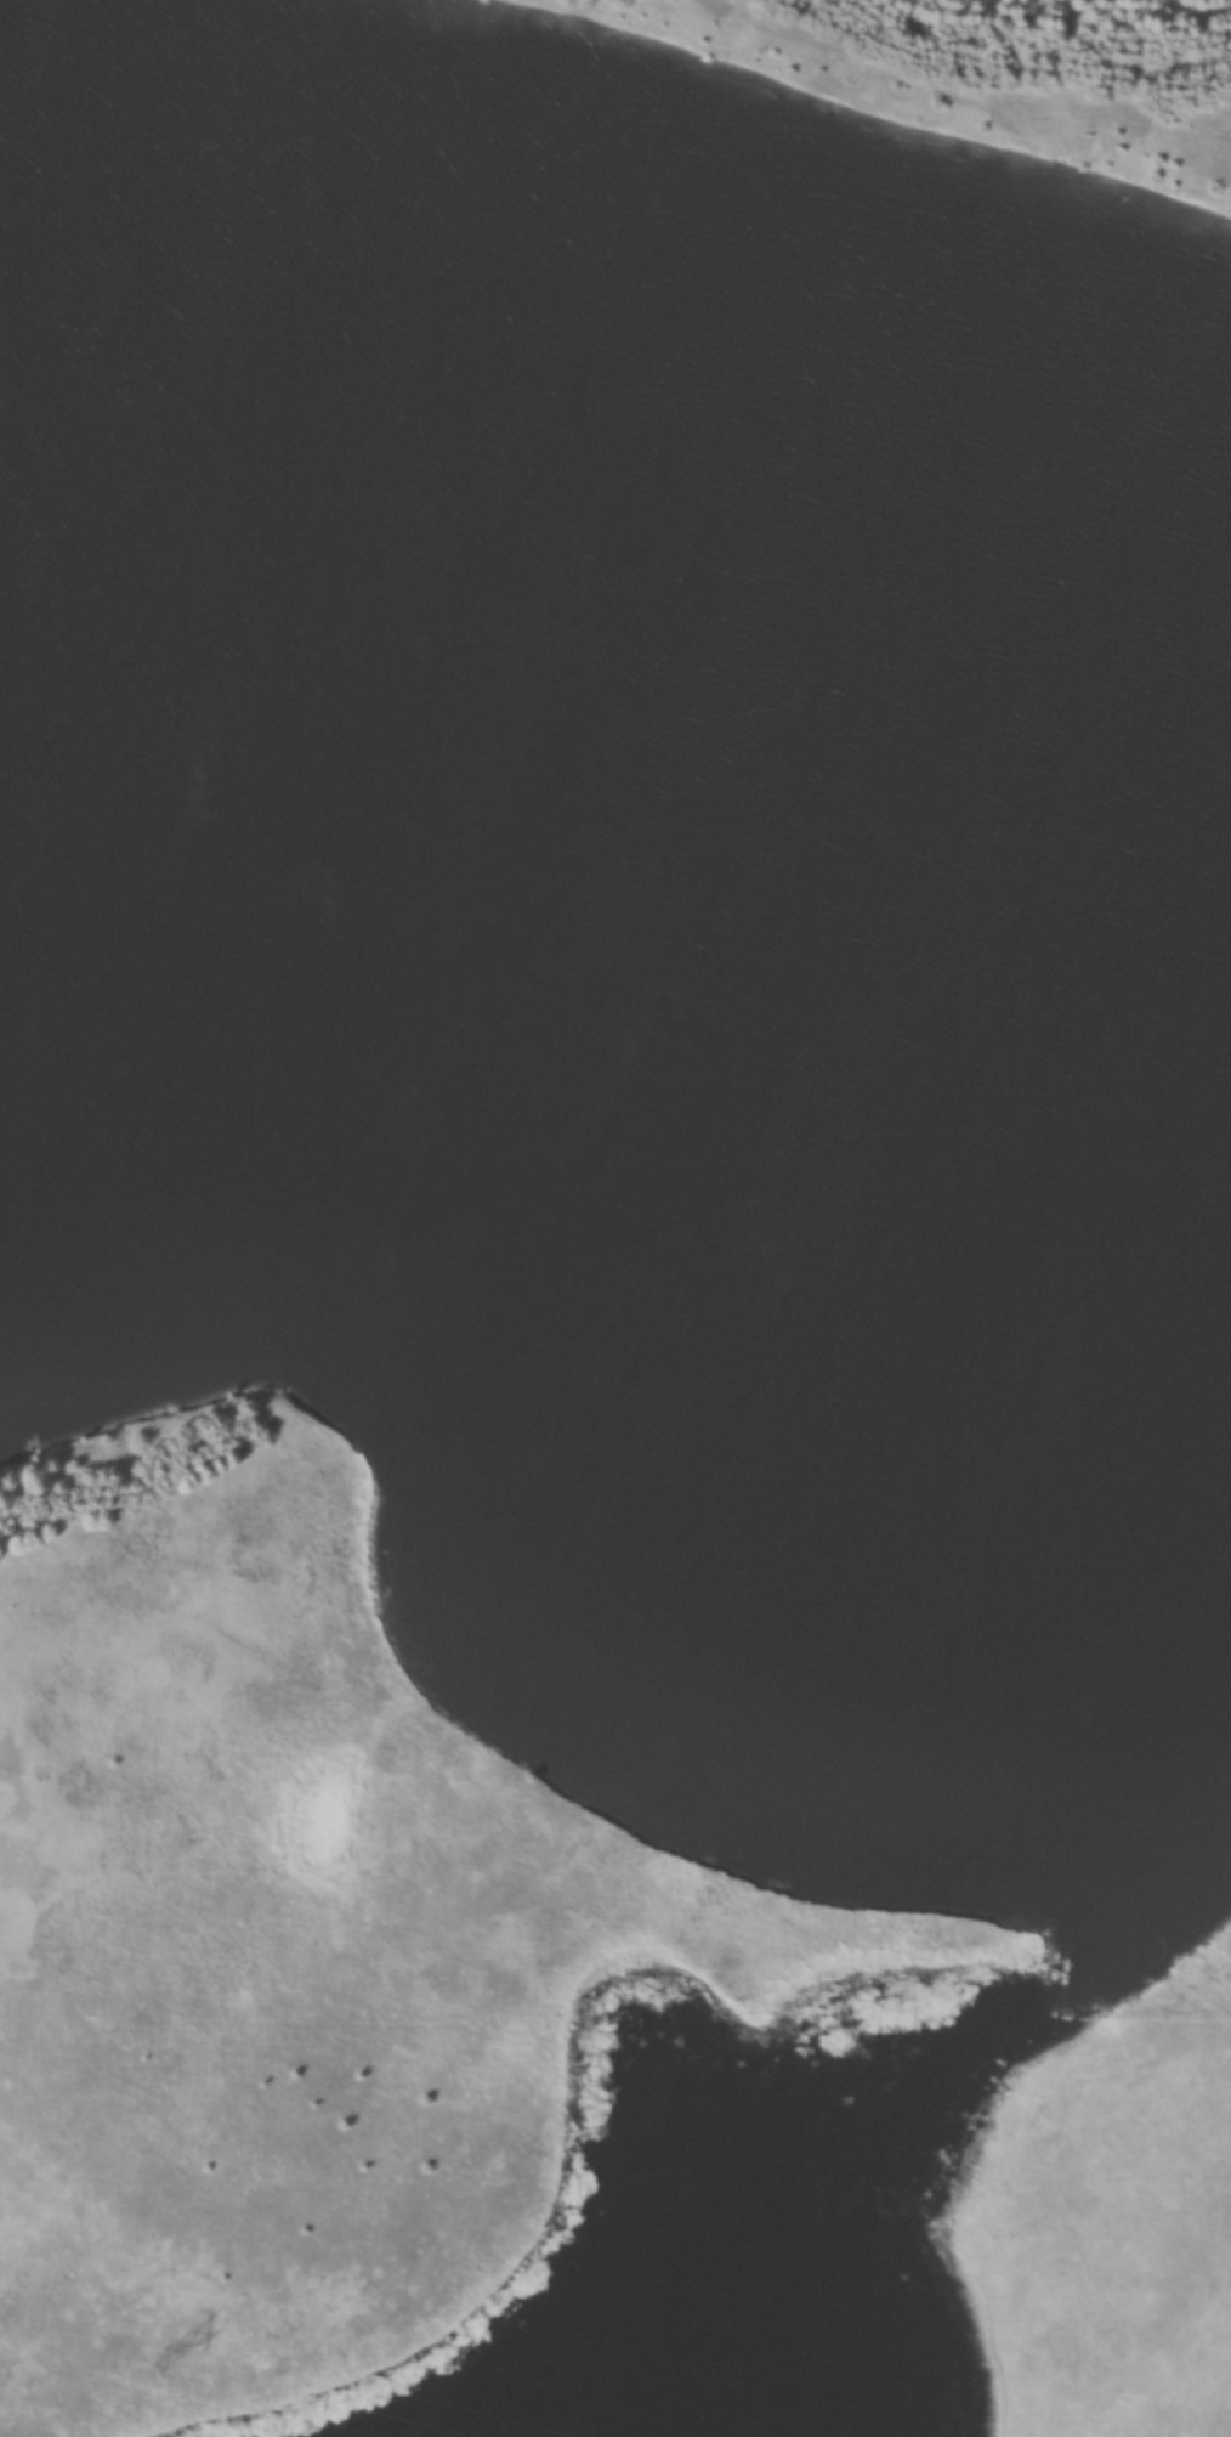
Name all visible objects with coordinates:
power tower: (174, 2360)

